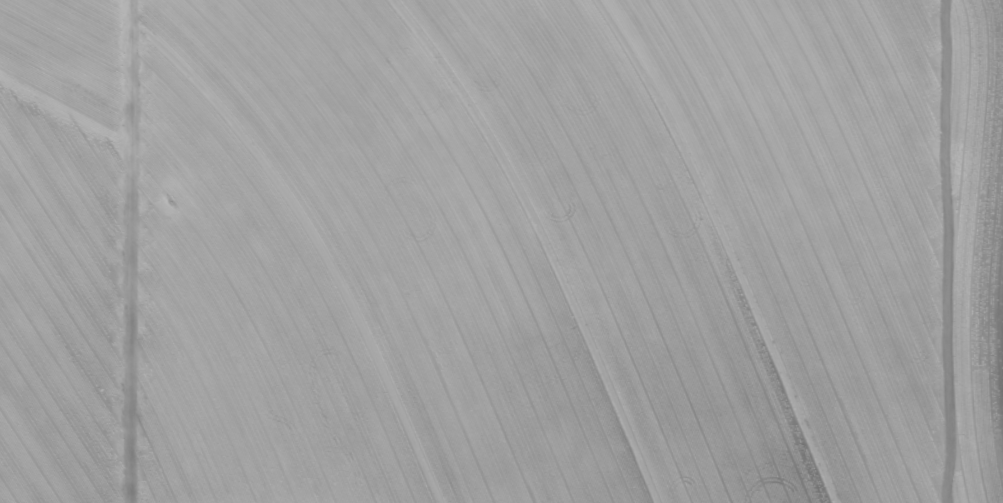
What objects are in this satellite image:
road: (936, 251)

